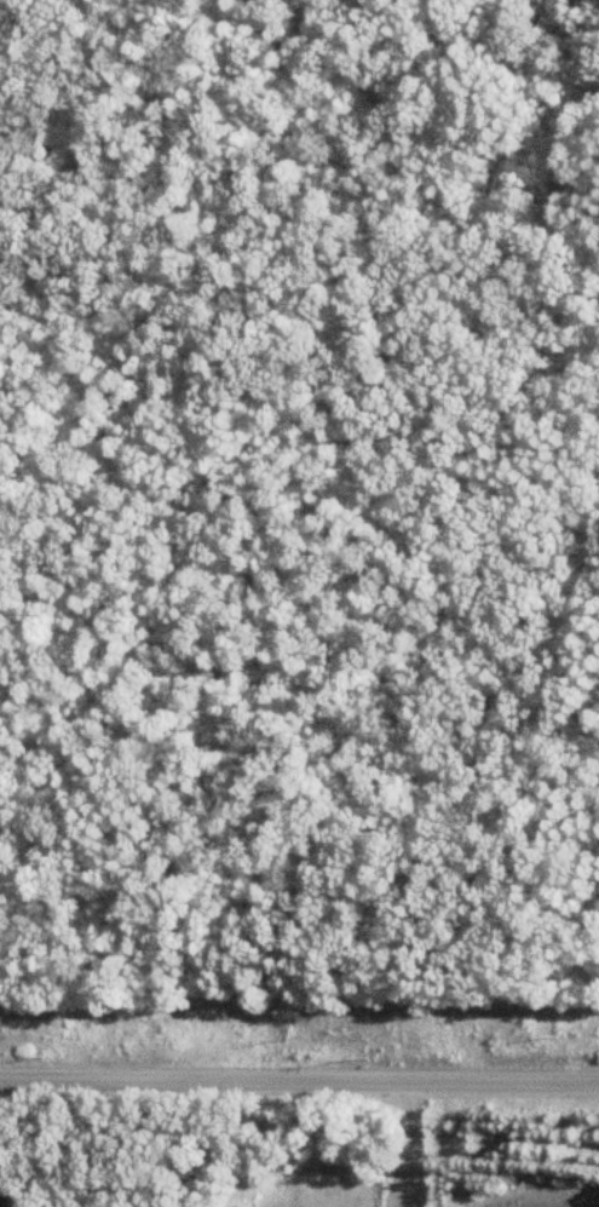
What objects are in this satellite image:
road: (299, 1080)
road: (413, 1143)
building: (6, 1202)

